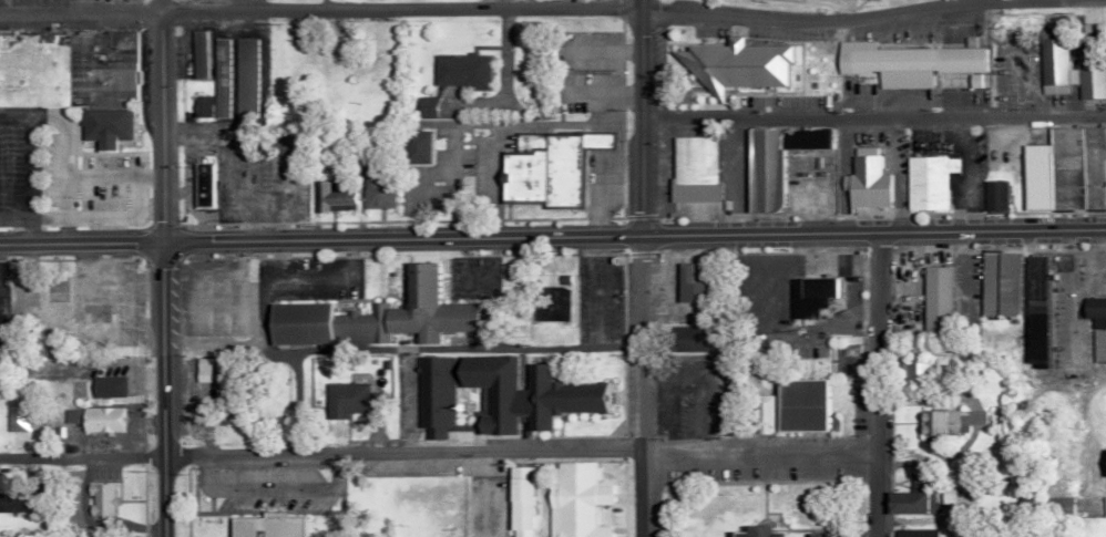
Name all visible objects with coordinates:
road: (838, 2)
road: (633, 3)
road: (480, 7)
building: (194, 53)
building: (903, 62)
building: (1055, 62)
building: (728, 64)
building: (457, 70)
building: (1092, 74)
building: (71, 78)
building: (217, 78)
building: (243, 79)
building: (198, 106)
building: (421, 107)
road: (13, 114)
road: (29, 114)
road: (871, 118)
road: (153, 120)
building: (416, 146)
road: (238, 151)
building: (770, 161)
building: (543, 168)
building: (689, 168)
building: (1064, 169)
road: (963, 174)
building: (198, 178)
building: (926, 180)
building: (863, 182)
building: (376, 189)
building: (993, 195)
building: (332, 196)
road: (98, 218)
road: (629, 236)
road: (76, 242)
building: (1064, 262)
road: (636, 272)
building: (997, 283)
building: (686, 285)
building: (808, 295)
building: (935, 300)
building: (1035, 306)
building: (1094, 310)
building: (372, 316)
building: (686, 339)
building: (918, 369)
building: (201, 370)
building: (727, 381)
road: (875, 384)
building: (105, 386)
road: (158, 389)
building: (499, 394)
building: (350, 400)
building: (789, 406)
building: (14, 419)
building: (92, 419)
building: (945, 422)
road: (439, 451)
building: (1105, 472)
road: (339, 475)
road: (208, 477)
road: (276, 487)
building: (946, 495)
building: (911, 497)
building: (99, 498)
building: (574, 499)
building: (520, 500)
building: (12, 502)
building: (1057, 505)
building: (265, 525)
building: (757, 531)
building: (914, 533)

